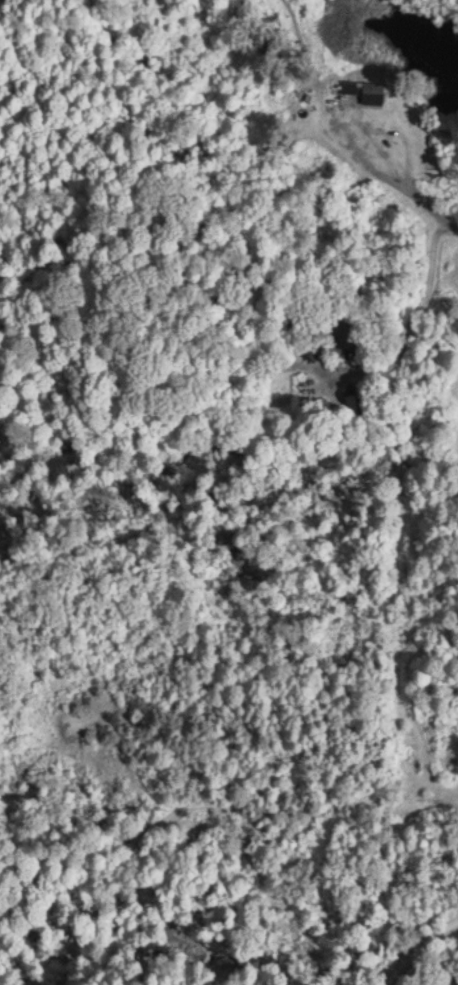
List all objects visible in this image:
building: (366, 89)
road: (404, 172)
building: (264, 281)
road: (428, 286)
building: (347, 330)
building: (358, 398)
road: (417, 947)

